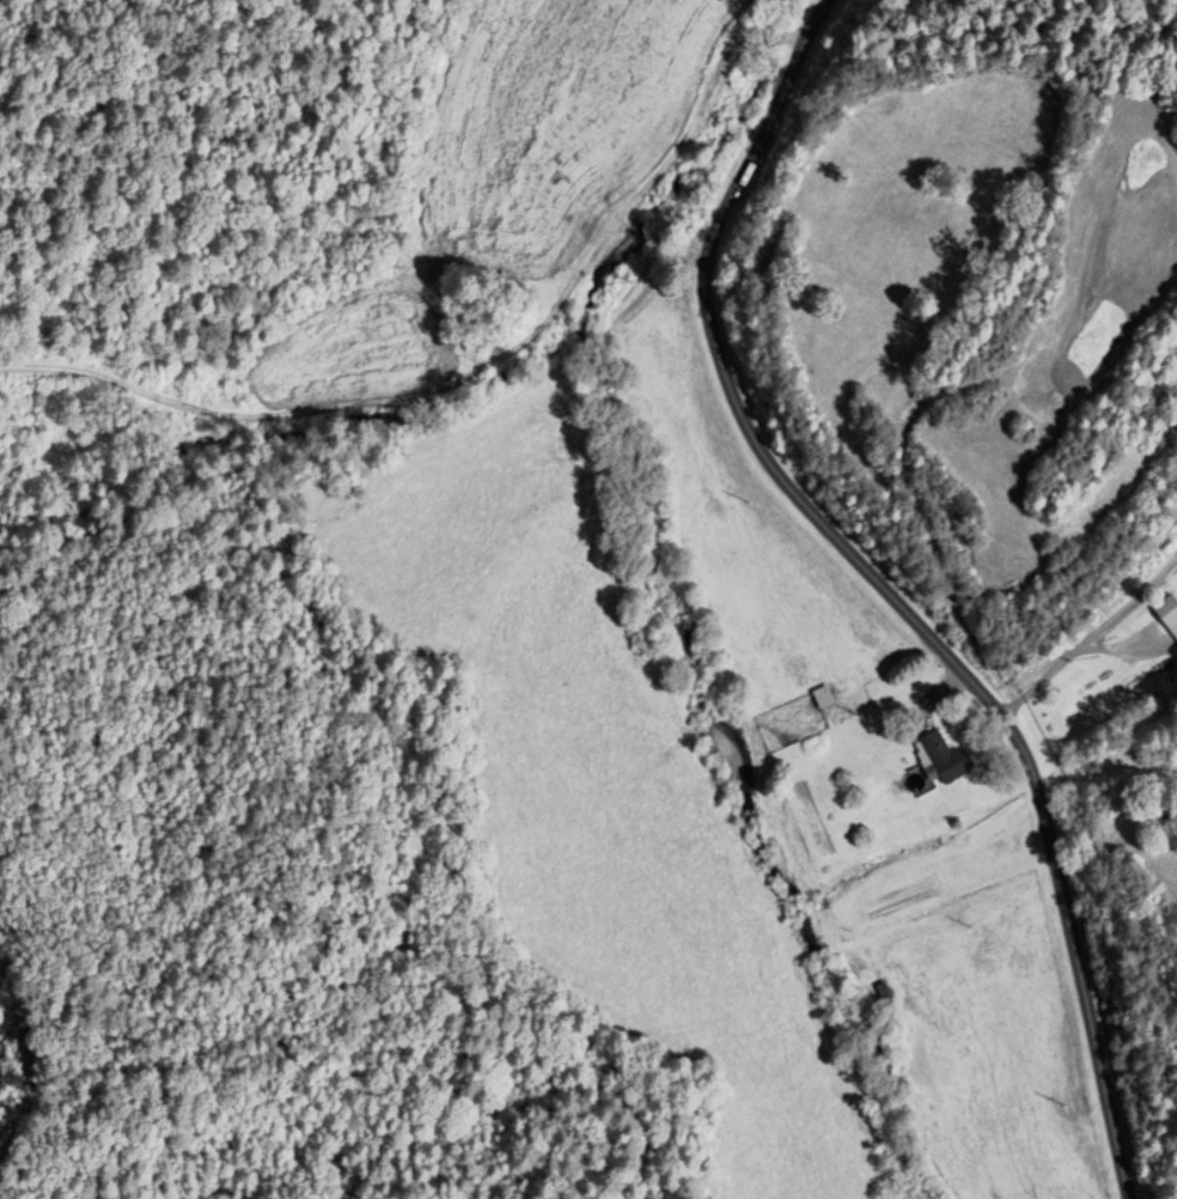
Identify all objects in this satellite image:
road: (639, 302)
road: (288, 480)
road: (883, 588)
building: (1166, 615)
road: (1087, 633)
building: (821, 701)
building: (940, 760)

